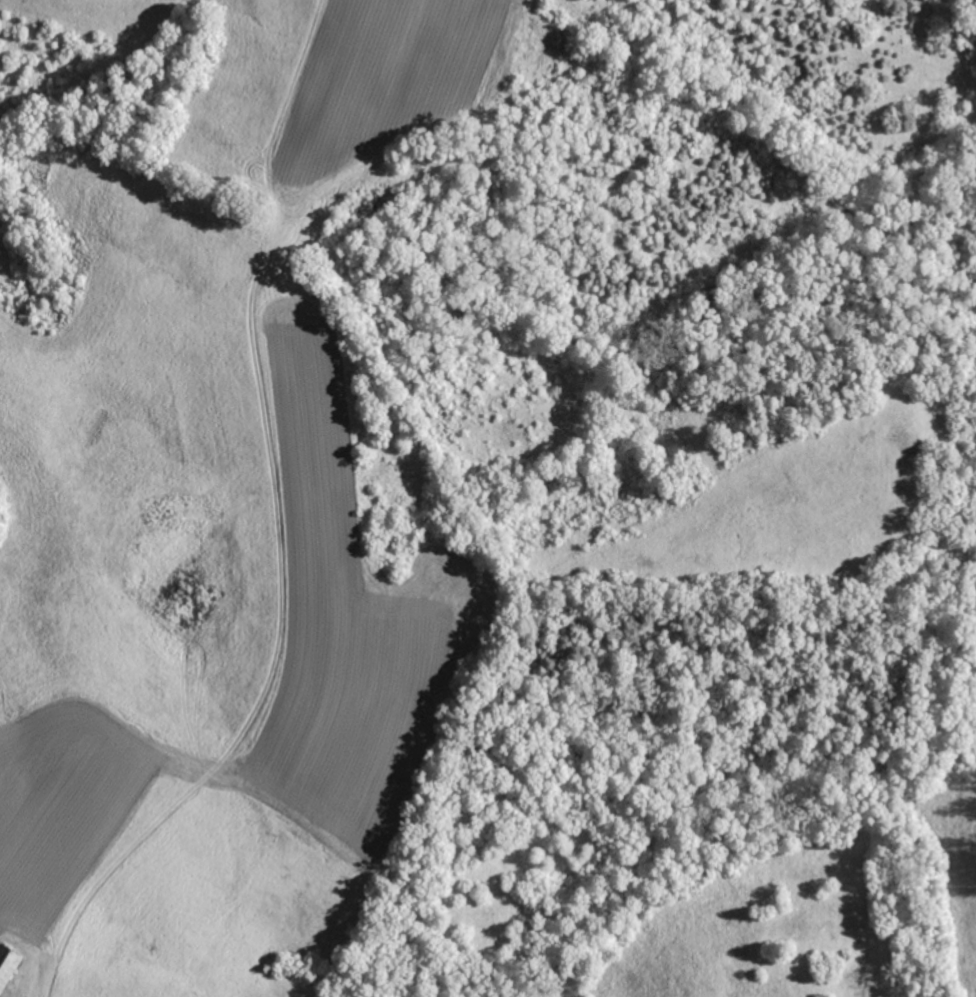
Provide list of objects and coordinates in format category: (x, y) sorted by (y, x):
building: (5, 965)

